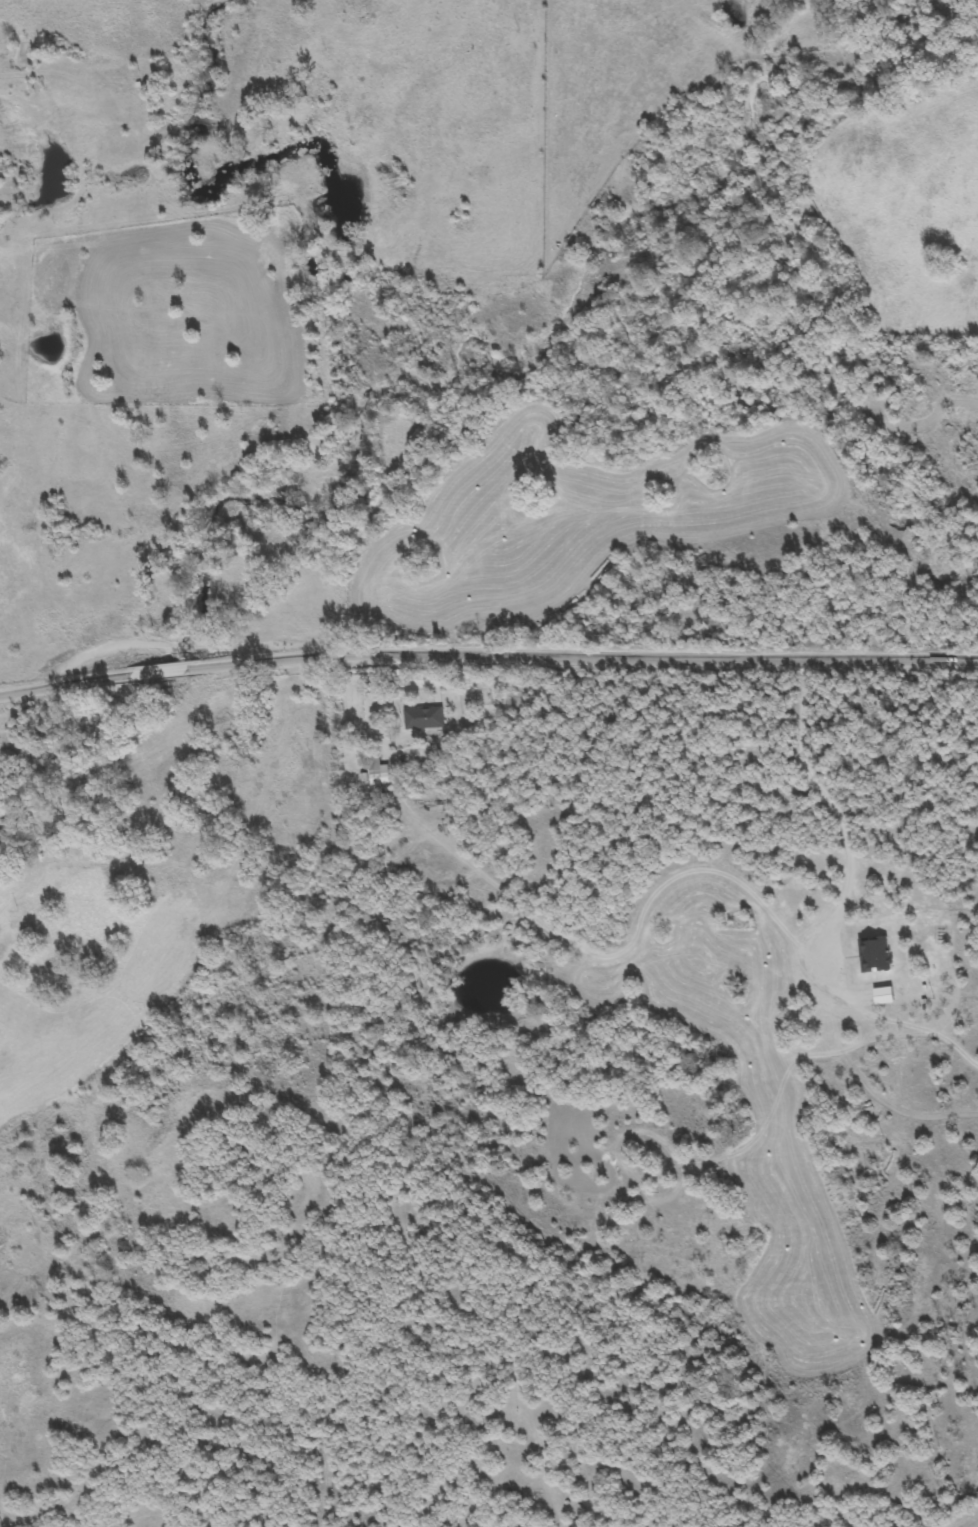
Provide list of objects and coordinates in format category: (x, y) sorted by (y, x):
road: (486, 647)
building: (423, 718)
building: (377, 771)

